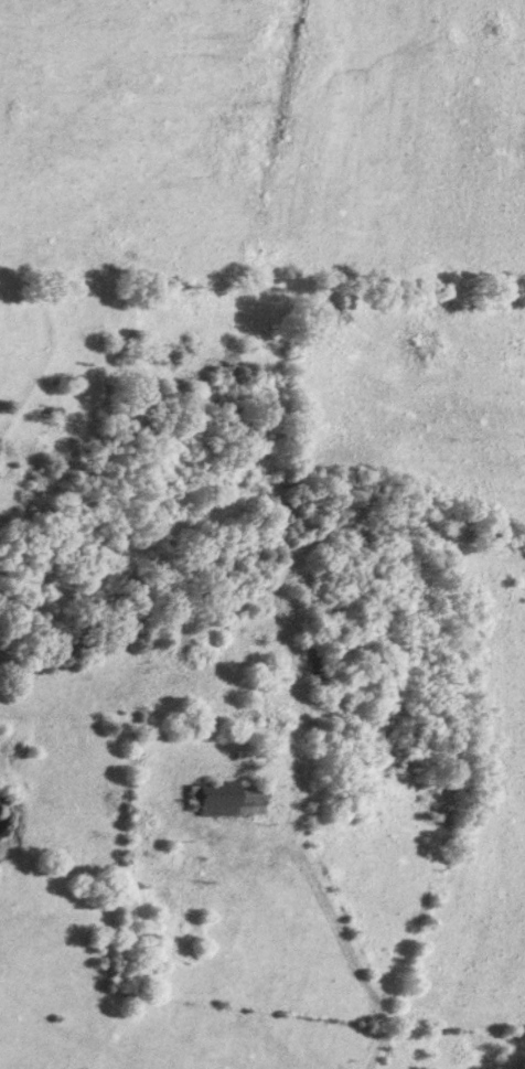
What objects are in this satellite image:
building: (307, 665)
building: (225, 798)
road: (344, 936)

